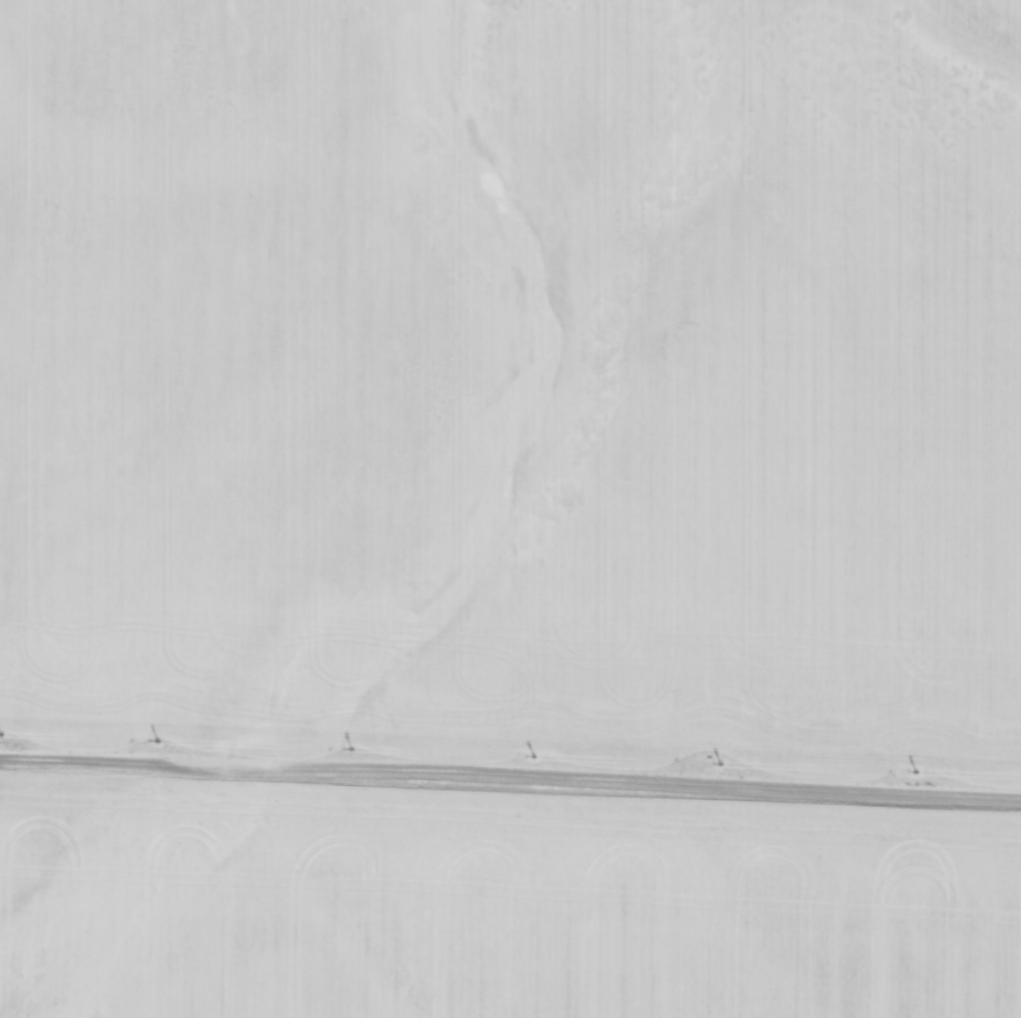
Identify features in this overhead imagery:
road: (510, 770)

